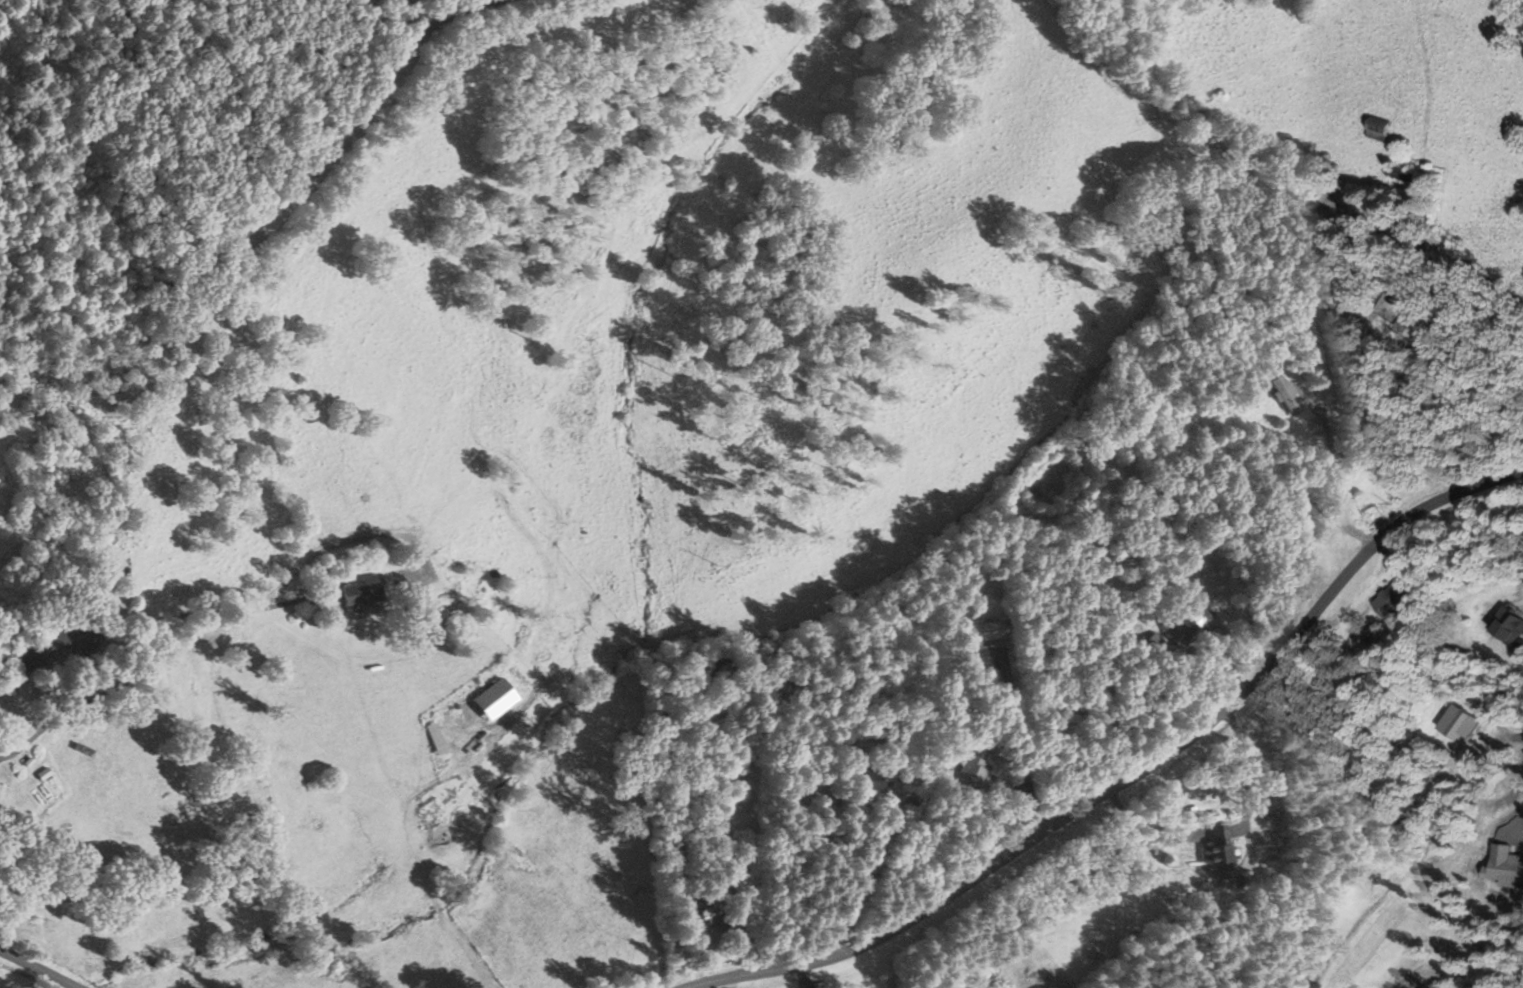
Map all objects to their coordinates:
road: (383, 78)
building: (1383, 129)
building: (1425, 318)
building: (1288, 397)
building: (359, 591)
building: (1396, 598)
building: (1189, 625)
building: (1505, 626)
building: (989, 632)
road: (308, 634)
building: (60, 643)
building: (1517, 647)
building: (490, 700)
building: (1455, 724)
road: (1497, 753)
road: (796, 758)
road: (1128, 778)
building: (1220, 849)
building: (1503, 866)
building: (709, 910)
road: (43, 965)

